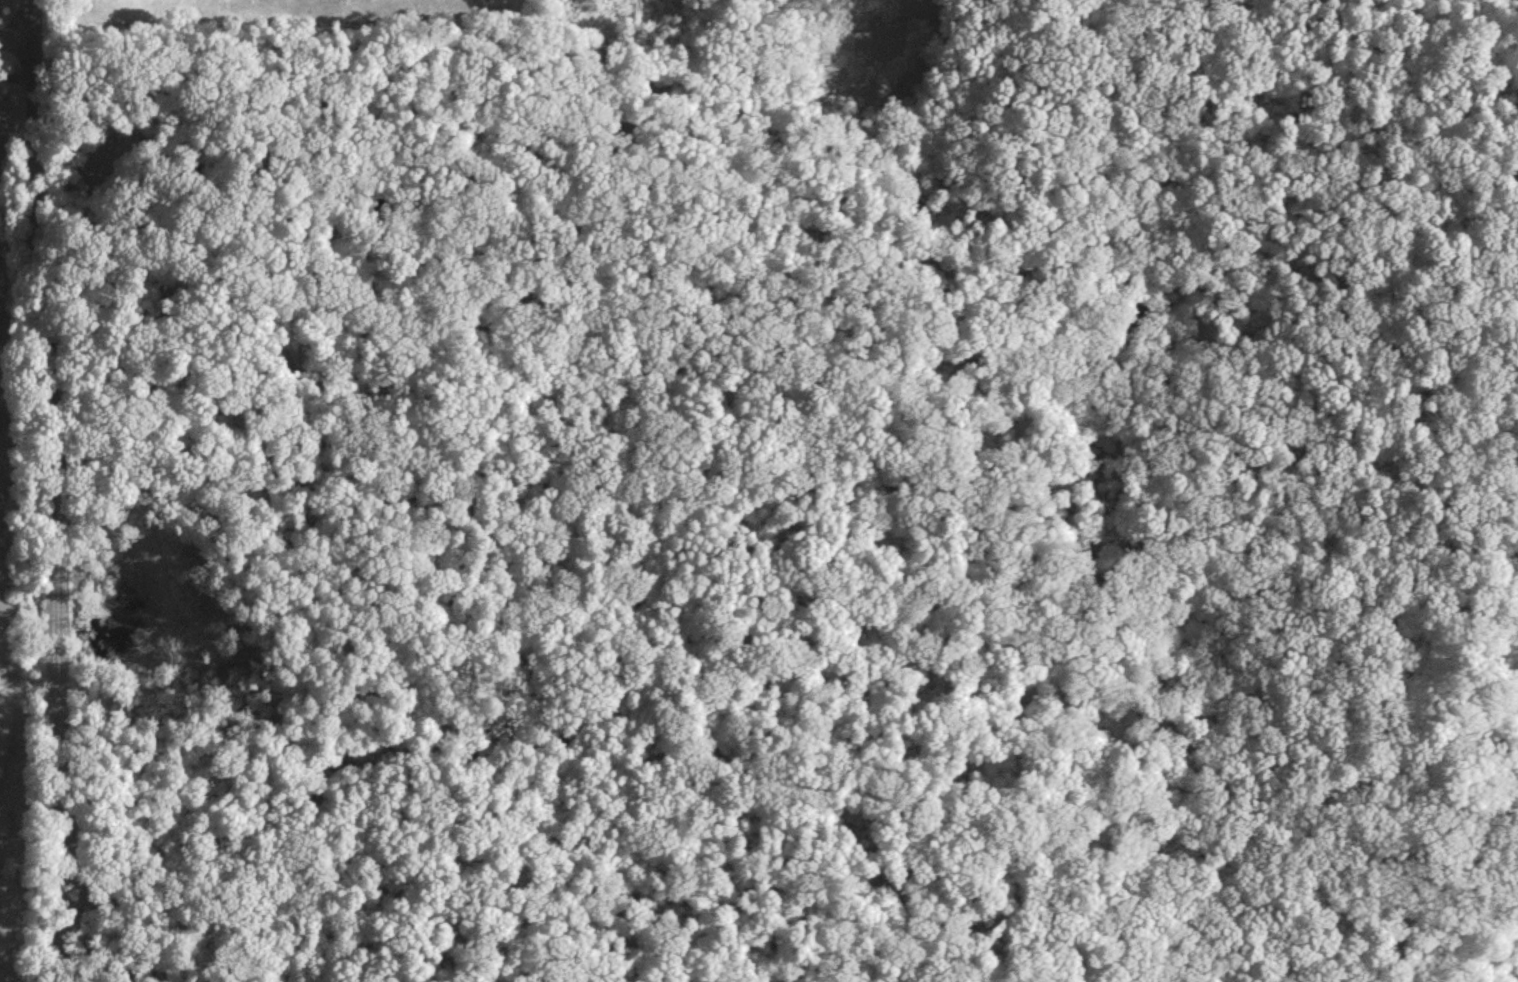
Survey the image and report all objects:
crop: (282, 13)
road: (31, 27)
road: (16, 55)
road: (38, 518)

